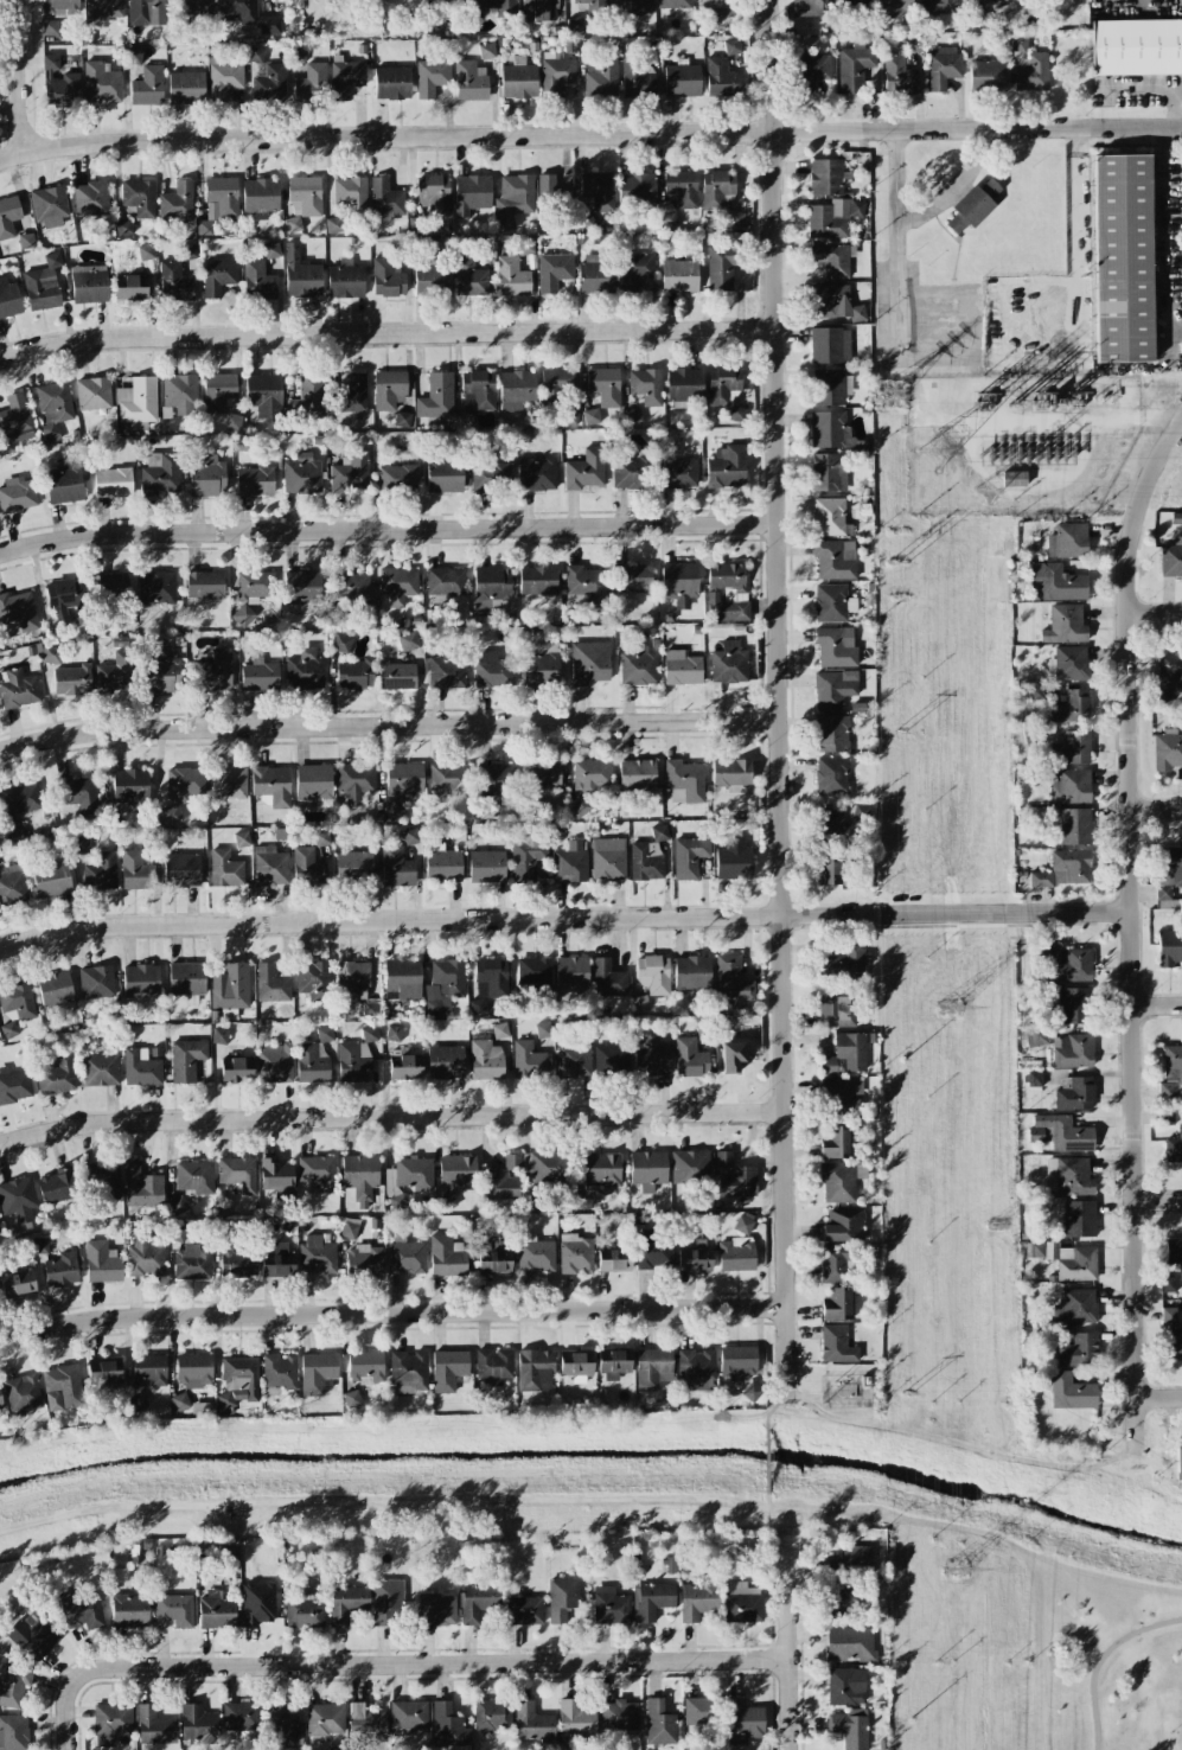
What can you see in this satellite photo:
building: (286, 0)
building: (446, 0)
building: (852, 1)
building: (985, 1)
road: (1145, 1)
building: (673, 4)
building: (714, 4)
building: (894, 5)
building: (194, 6)
building: (594, 6)
building: (639, 6)
building: (938, 6)
building: (62, 7)
building: (505, 7)
building: (809, 7)
building: (473, 8)
building: (539, 9)
building: (102, 11)
building: (146, 12)
building: (247, 15)
building: (574, 24)
building: (50, 27)
building: (1018, 43)
building: (913, 45)
building: (731, 46)
building: (1136, 47)
building: (486, 50)
building: (298, 53)
building: (255, 55)
building: (854, 66)
building: (943, 68)
building: (812, 71)
building: (556, 72)
building: (1033, 72)
building: (897, 75)
road: (15, 76)
building: (986, 76)
building: (430, 77)
building: (721, 77)
building: (224, 78)
building: (345, 78)
building: (518, 78)
building: (601, 78)
building: (311, 81)
building: (469, 81)
building: (637, 81)
building: (682, 81)
building: (101, 83)
building: (269, 83)
building: (391, 83)
building: (59, 84)
building: (147, 87)
building: (185, 88)
road: (589, 134)
building: (826, 177)
building: (682, 187)
road: (957, 187)
building: (635, 189)
building: (716, 189)
building: (598, 190)
building: (551, 191)
building: (351, 192)
building: (434, 192)
building: (260, 194)
building: (306, 194)
building: (471, 194)
building: (515, 196)
road: (1074, 196)
building: (138, 197)
building: (90, 198)
building: (177, 202)
building: (218, 202)
building: (385, 202)
building: (971, 206)
building: (50, 207)
road: (894, 215)
building: (8, 216)
building: (832, 217)
building: (584, 218)
building: (667, 218)
building: (731, 219)
building: (294, 224)
building: (333, 224)
building: (416, 224)
building: (122, 228)
road: (1167, 232)
building: (25, 241)
building: (524, 247)
building: (271, 250)
building: (145, 253)
building: (1122, 258)
building: (831, 260)
building: (721, 267)
building: (634, 270)
building: (554, 272)
building: (300, 273)
building: (595, 274)
building: (217, 276)
building: (679, 276)
building: (386, 277)
building: (469, 277)
building: (512, 277)
building: (257, 280)
building: (345, 280)
building: (432, 280)
building: (174, 282)
building: (89, 283)
building: (43, 285)
building: (130, 287)
building: (8, 299)
building: (835, 302)
road: (385, 334)
building: (829, 344)
building: (684, 384)
building: (722, 384)
building: (556, 385)
building: (605, 385)
building: (646, 385)
building: (830, 387)
building: (389, 389)
building: (478, 389)
building: (516, 390)
building: (217, 391)
building: (312, 391)
building: (92, 394)
building: (179, 394)
building: (263, 395)
building: (350, 395)
power tower: (889, 395)
building: (436, 396)
building: (138, 400)
power tower: (1012, 404)
power tower: (1058, 405)
building: (53, 408)
building: (736, 414)
building: (590, 416)
building: (632, 416)
road: (1043, 416)
building: (467, 417)
building: (568, 417)
building: (402, 419)
building: (14, 420)
building: (231, 422)
building: (829, 429)
power substation: (1018, 441)
power tower: (938, 451)
building: (726, 467)
building: (584, 470)
building: (630, 472)
building: (160, 473)
building: (350, 473)
building: (677, 473)
building: (828, 473)
building: (537, 474)
building: (205, 475)
building: (301, 475)
building: (443, 475)
building: (490, 475)
building: (397, 478)
building: (1016, 478)
road: (1026, 478)
building: (254, 481)
building: (111, 483)
building: (63, 485)
power tower: (988, 490)
building: (17, 494)
building: (829, 516)
road: (386, 529)
building: (1067, 541)
building: (835, 558)
power tower: (899, 558)
building: (1171, 558)
building: (631, 577)
building: (537, 580)
building: (445, 581)
building: (491, 582)
building: (679, 582)
building: (1055, 582)
building: (110, 585)
building: (204, 585)
building: (397, 585)
building: (584, 585)
building: (254, 586)
building: (302, 586)
building: (158, 587)
building: (350, 587)
building: (726, 592)
building: (63, 595)
building: (832, 602)
building: (17, 613)
road: (1155, 613)
building: (243, 614)
building: (1065, 625)
building: (408, 641)
building: (340, 643)
building: (835, 647)
building: (50, 654)
building: (588, 663)
building: (728, 663)
building: (1071, 663)
building: (541, 665)
building: (638, 666)
building: (682, 668)
building: (219, 669)
building: (1171, 669)
building: (492, 670)
building: (161, 672)
building: (304, 672)
building: (446, 672)
building: (114, 673)
building: (353, 675)
building: (396, 675)
building: (260, 676)
building: (72, 679)
building: (833, 688)
building: (18, 689)
building: (1035, 694)
road: (777, 700)
building: (1071, 705)
road: (386, 724)
power tower: (901, 729)
building: (831, 734)
building: (1071, 748)
building: (1167, 752)
building: (730, 774)
building: (542, 775)
building: (590, 775)
building: (637, 775)
building: (831, 775)
building: (496, 778)
building: (447, 779)
building: (685, 779)
building: (185, 781)
building: (312, 781)
building: (354, 781)
building: (228, 783)
building: (271, 785)
building: (401, 786)
building: (1072, 786)
building: (130, 788)
building: (78, 793)
building: (20, 798)
building: (580, 806)
road: (1156, 810)
building: (170, 815)
building: (831, 817)
building: (858, 817)
building: (1074, 826)
building: (659, 832)
building: (410, 836)
building: (321, 837)
building: (241, 839)
building: (149, 841)
building: (79, 845)
building: (689, 856)
building: (526, 857)
building: (608, 860)
building: (646, 861)
building: (733, 862)
building: (570, 863)
building: (353, 864)
building: (441, 864)
building: (270, 867)
building: (486, 867)
building: (307, 868)
building: (396, 868)
building: (224, 869)
building: (1063, 869)
building: (135, 870)
building: (181, 870)
building: (831, 871)
building: (100, 873)
building: (1169, 874)
building: (862, 876)
building: (51, 879)
building: (12, 883)
road: (956, 913)
road: (389, 920)
road: (1131, 932)
building: (1169, 949)
building: (843, 963)
building: (1073, 966)
building: (534, 971)
building: (571, 972)
building: (654, 972)
building: (691, 972)
building: (491, 977)
building: (140, 978)
building: (186, 978)
building: (402, 978)
building: (313, 979)
building: (608, 979)
building: (352, 981)
building: (731, 981)
building: (96, 982)
building: (270, 984)
building: (232, 988)
building: (443, 988)
building: (55, 989)
building: (17, 1002)
building: (640, 1003)
road: (1157, 1004)
building: (1074, 1005)
building: (477, 1007)
building: (837, 1007)
power tower: (947, 1008)
building: (369, 1009)
building: (228, 1014)
building: (702, 1024)
building: (8, 1029)
building: (543, 1029)
building: (499, 1030)
building: (324, 1034)
building: (369, 1034)
building: (394, 1034)
building: (219, 1036)
building: (1035, 1036)
building: (1072, 1050)
building: (845, 1054)
building: (652, 1055)
building: (730, 1056)
building: (690, 1058)
building: (186, 1059)
building: (485, 1060)
building: (528, 1060)
building: (573, 1060)
building: (445, 1061)
building: (611, 1061)
power tower: (903, 1061)
building: (275, 1062)
building: (353, 1062)
building: (311, 1064)
building: (404, 1067)
building: (140, 1068)
building: (100, 1069)
building: (238, 1069)
building: (57, 1075)
building: (1171, 1075)
building: (1034, 1079)
building: (14, 1086)
building: (848, 1090)
building: (1074, 1093)
road: (390, 1116)
building: (1165, 1117)
building: (1061, 1132)
building: (835, 1143)
building: (1178, 1143)
building: (722, 1157)
building: (542, 1165)
building: (690, 1167)
building: (130, 1168)
building: (647, 1169)
building: (601, 1170)
building: (318, 1171)
building: (237, 1173)
building: (458, 1173)
building: (410, 1174)
building: (1050, 1175)
building: (194, 1176)
building: (276, 1176)
building: (360, 1176)
building: (1073, 1176)
building: (737, 1182)
building: (838, 1183)
building: (498, 1184)
building: (55, 1187)
building: (145, 1192)
building: (18, 1199)
road: (1158, 1202)
building: (1079, 1219)
building: (742, 1225)
building: (843, 1225)
power tower: (988, 1225)
building: (349, 1228)
building: (39, 1245)
building: (1036, 1250)
building: (653, 1252)
building: (535, 1253)
building: (1174, 1253)
building: (317, 1254)
building: (405, 1256)
building: (446, 1256)
building: (493, 1257)
building: (576, 1257)
building: (695, 1257)
building: (735, 1257)
building: (145, 1258)
building: (364, 1260)
building: (101, 1262)
building: (191, 1262)
building: (277, 1262)
building: (612, 1262)
building: (1075, 1263)
building: (235, 1264)
building: (60, 1270)
building: (17, 1283)
building: (1168, 1284)
building: (836, 1304)
building: (1075, 1307)
road: (391, 1312)
building: (1168, 1314)
building: (1176, 1340)
building: (836, 1345)
building: (1079, 1350)
building: (576, 1362)
building: (737, 1362)
building: (614, 1363)
building: (493, 1365)
building: (149, 1368)
building: (653, 1368)
building: (409, 1369)
building: (449, 1369)
building: (696, 1369)
building: (535, 1371)
building: (279, 1373)
building: (317, 1373)
building: (102, 1375)
building: (237, 1382)
building: (62, 1387)
building: (21, 1392)
building: (752, 1392)
building: (1071, 1392)
power tower: (908, 1394)
road: (1158, 1395)
building: (351, 1398)
road: (809, 1398)
building: (0, 1404)
road: (772, 1410)
road: (767, 1461)
road: (498, 1497)
building: (850, 1563)
power tower: (953, 1571)
road: (772, 1577)
building: (562, 1598)
building: (652, 1599)
building: (842, 1599)
building: (386, 1601)
building: (697, 1601)
building: (478, 1602)
building: (257, 1603)
building: (346, 1603)
building: (743, 1603)
building: (436, 1609)
building: (129, 1610)
building: (173, 1610)
building: (524, 1610)
building: (215, 1611)
building: (304, 1612)
building: (83, 1614)
building: (31, 1637)
road: (788, 1639)
building: (849, 1644)
road: (1099, 1659)
park: (1101, 1659)
road: (394, 1663)
building: (13, 1685)
building: (845, 1686)
building: (702, 1711)
building: (409, 1714)
building: (492, 1714)
building: (241, 1716)
building: (619, 1716)
power tower: (912, 1717)
building: (111, 1718)
building: (576, 1718)
building: (325, 1719)
building: (532, 1722)
building: (742, 1722)
building: (365, 1723)
building: (659, 1723)
building: (197, 1724)
building: (154, 1726)
building: (448, 1726)
building: (282, 1727)
building: (850, 1727)
building: (13, 1732)

